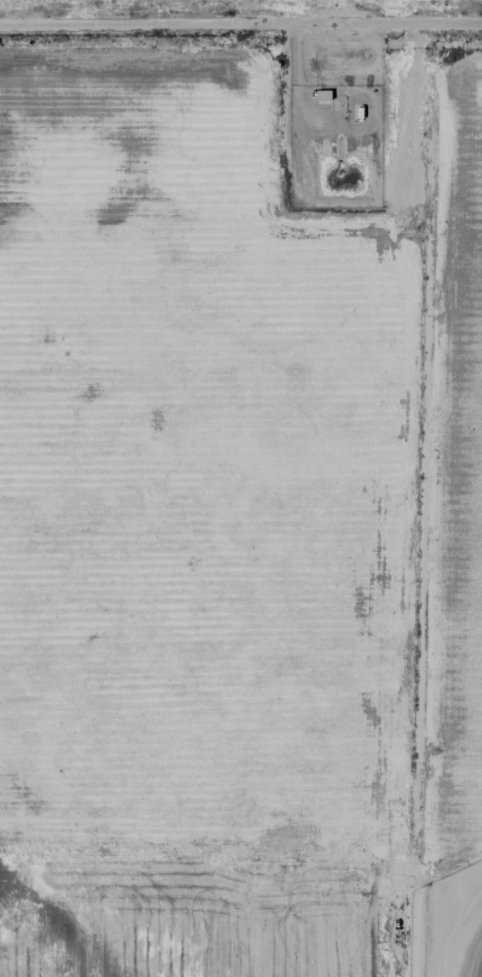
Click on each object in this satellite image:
road: (241, 12)
road: (418, 499)

